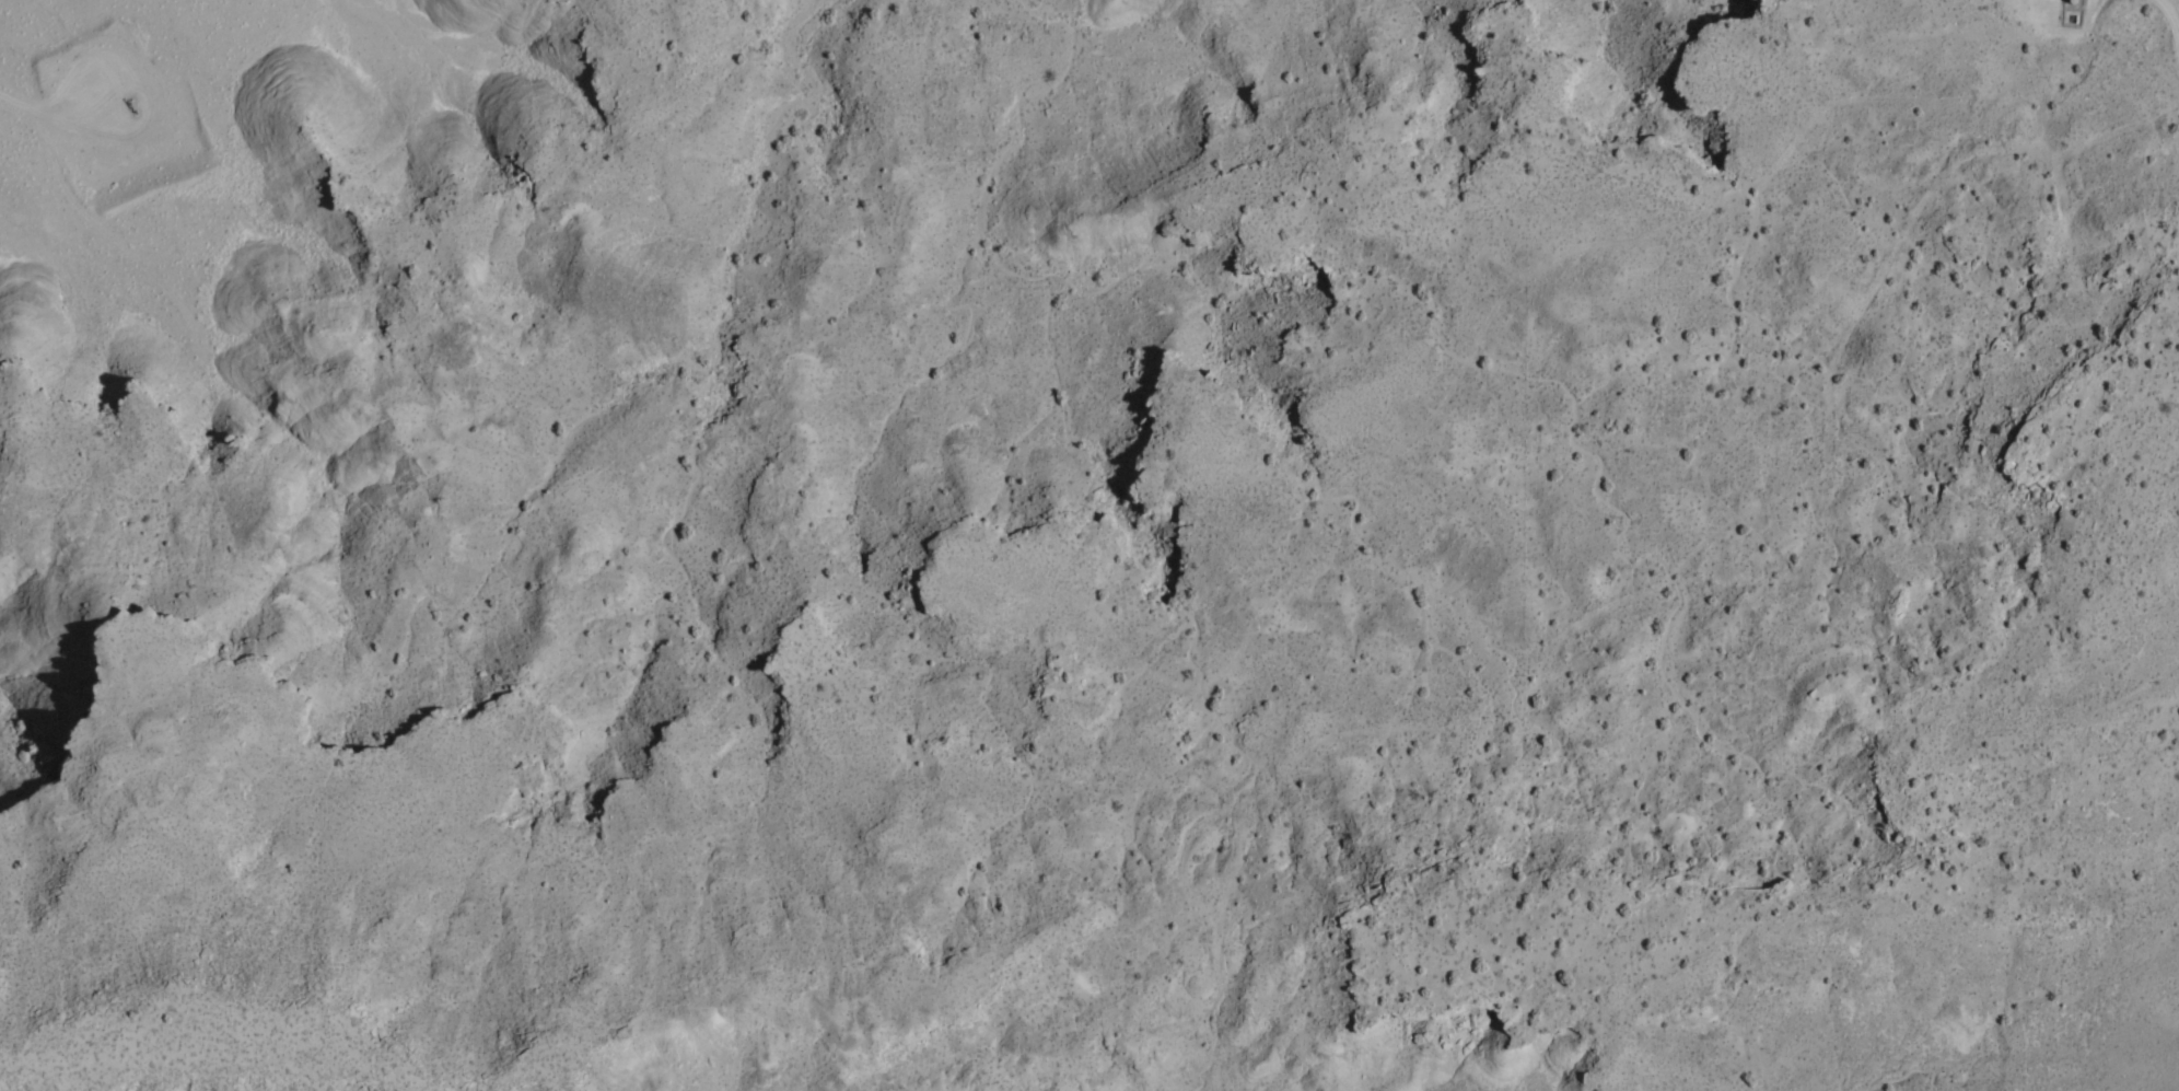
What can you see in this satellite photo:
road: (2174, 13)
road: (148, 82)
road: (12, 94)

